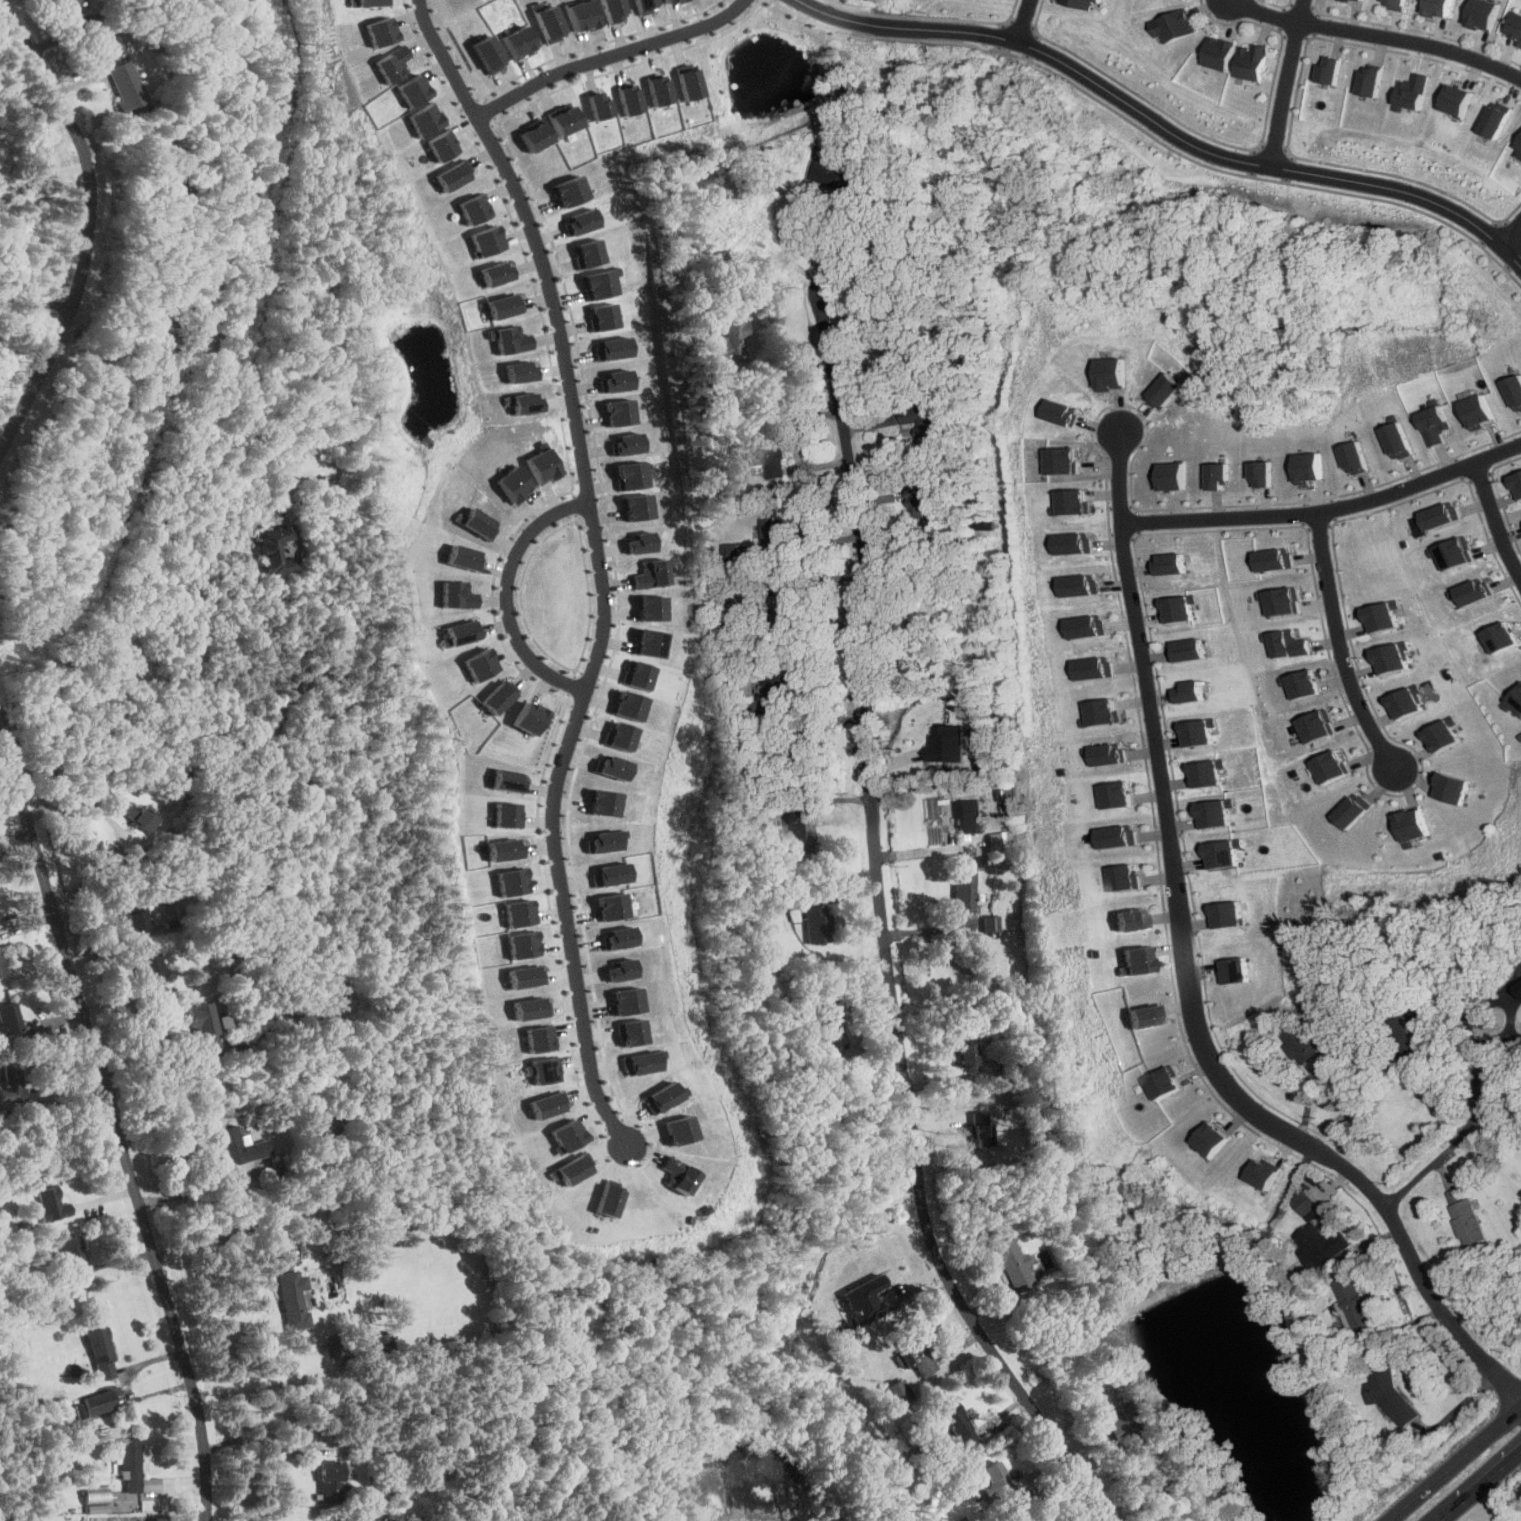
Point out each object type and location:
building: (1357, 0)
building: (669, 1)
building: (367, 2)
building: (66, 3)
building: (1083, 3)
building: (1389, 4)
building: (643, 5)
building: (1433, 7)
building: (611, 9)
building: (1478, 14)
building: (580, 15)
road: (841, 16)
road: (1022, 20)
building: (548, 23)
building: (1174, 25)
building: (1515, 28)
road: (901, 29)
building: (379, 31)
road: (1375, 36)
building: (519, 42)
building: (1216, 53)
building: (489, 54)
road: (612, 54)
building: (1248, 61)
building: (391, 64)
building: (1326, 69)
building: (1366, 81)
building: (690, 82)
road: (1279, 83)
building: (126, 87)
building: (659, 89)
building: (412, 90)
building: (1408, 93)
building: (629, 98)
building: (1453, 100)
building: (597, 104)
building: (426, 119)
building: (1493, 119)
building: (563, 120)
building: (535, 136)
building: (444, 145)
building: (1519, 145)
road: (1217, 158)
road: (41, 175)
building: (457, 175)
building: (839, 176)
building: (177, 185)
building: (569, 190)
building: (479, 208)
building: (583, 221)
road: (89, 223)
road: (813, 237)
road: (1513, 237)
building: (490, 240)
building: (590, 253)
building: (502, 272)
building: (603, 283)
building: (509, 305)
road: (30, 309)
building: (607, 316)
building: (160, 326)
building: (512, 339)
building: (727, 342)
building: (616, 348)
building: (897, 353)
building: (524, 371)
building: (1114, 373)
building: (618, 380)
building: (1167, 391)
building: (1516, 391)
building: (525, 402)
building: (1480, 411)
building: (621, 412)
building: (1069, 412)
building: (925, 418)
building: (1437, 424)
building: (1400, 440)
building: (628, 443)
road: (796, 443)
road: (1, 444)
building: (769, 452)
building: (1357, 456)
building: (1072, 461)
building: (541, 466)
building: (1312, 467)
building: (1266, 473)
building: (631, 475)
building: (1223, 475)
building: (1179, 476)
building: (1517, 483)
building: (512, 484)
building: (926, 501)
building: (1081, 502)
building: (637, 506)
road: (1284, 513)
building: (1440, 517)
road: (1497, 517)
building: (473, 522)
building: (772, 525)
building: (639, 542)
building: (1082, 543)
building: (274, 549)
building: (1458, 553)
building: (461, 557)
building: (732, 559)
building: (1281, 559)
road: (598, 564)
building: (1177, 564)
building: (649, 573)
building: (1086, 585)
road: (504, 591)
building: (1474, 592)
building: (454, 594)
building: (791, 598)
building: (1287, 600)
building: (648, 607)
building: (1182, 608)
building: (1386, 616)
building: (1091, 626)
building: (459, 632)
building: (1499, 637)
road: (1341, 641)
building: (647, 642)
building: (1291, 643)
building: (1188, 650)
building: (1392, 658)
building: (478, 663)
building: (1097, 668)
road: (176, 672)
building: (634, 674)
building: (776, 682)
building: (1304, 683)
building: (1190, 691)
building: (497, 695)
building: (1405, 701)
building: (1513, 701)
building: (625, 705)
building: (1103, 712)
building: (528, 717)
building: (1317, 726)
building: (1198, 732)
building: (1438, 734)
building: (614, 735)
building: (947, 743)
building: (1108, 754)
building: (607, 766)
building: (1329, 766)
building: (1205, 773)
building: (505, 780)
building: (1444, 787)
building: (1118, 795)
building: (597, 802)
building: (1349, 810)
building: (1212, 813)
building: (504, 814)
building: (135, 815)
building: (968, 816)
building: (1406, 826)
building: (799, 834)
building: (1119, 836)
building: (601, 839)
building: (501, 849)
building: (1218, 853)
road: (92, 871)
building: (603, 873)
building: (1127, 877)
building: (509, 881)
building: (964, 891)
building: (605, 905)
building: (515, 912)
building: (1224, 914)
building: (1129, 918)
building: (136, 920)
building: (817, 924)
building: (992, 925)
road: (883, 930)
building: (614, 937)
building: (519, 944)
building: (1134, 960)
building: (0, 962)
building: (617, 969)
building: (1231, 969)
building: (151, 975)
building: (524, 976)
building: (1519, 985)
building: (623, 1000)
building: (529, 1007)
building: (1142, 1015)
building: (9, 1018)
road: (1196, 1024)
building: (203, 1028)
building: (628, 1031)
building: (829, 1035)
building: (539, 1038)
building: (1401, 1041)
building: (1302, 1042)
road: (166, 1052)
building: (967, 1058)
building: (639, 1062)
building: (541, 1070)
building: (11, 1083)
building: (1167, 1083)
building: (661, 1096)
building: (548, 1104)
road: (115, 1124)
building: (978, 1127)
road: (1465, 1128)
building: (676, 1129)
building: (565, 1135)
building: (1213, 1139)
building: (239, 1146)
building: (569, 1169)
building: (674, 1174)
building: (1264, 1174)
building: (604, 1200)
building: (52, 1205)
building: (1305, 1206)
building: (1464, 1218)
road: (214, 1236)
building: (1320, 1245)
building: (74, 1257)
building: (1042, 1258)
building: (1012, 1264)
building: (864, 1298)
building: (294, 1299)
building: (1351, 1302)
building: (916, 1352)
building: (101, 1353)
building: (897, 1393)
building: (1389, 1393)
building: (98, 1402)
road: (1459, 1405)
building: (1118, 1419)
building: (958, 1424)
road: (254, 1435)
road: (1454, 1463)
building: (130, 1464)
building: (330, 1481)
building: (1000, 1484)
road: (1480, 1485)
building: (96, 1500)

